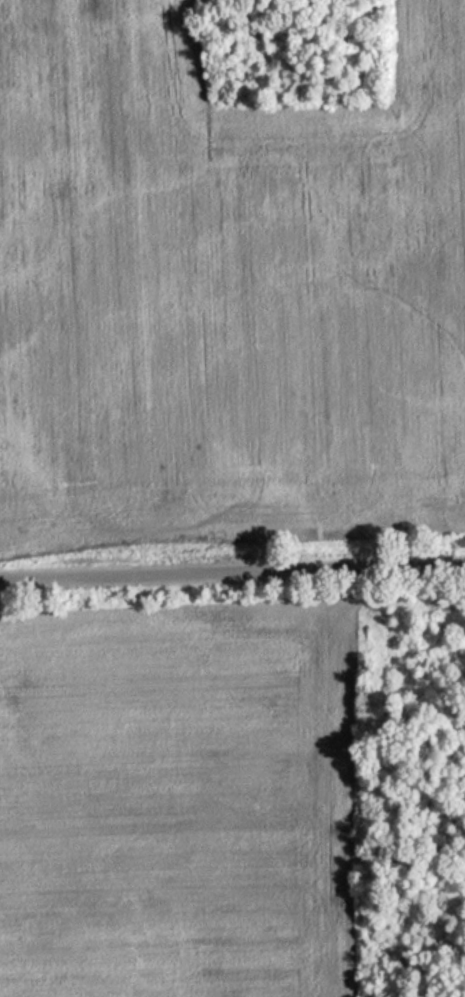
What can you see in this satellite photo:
road: (232, 584)

